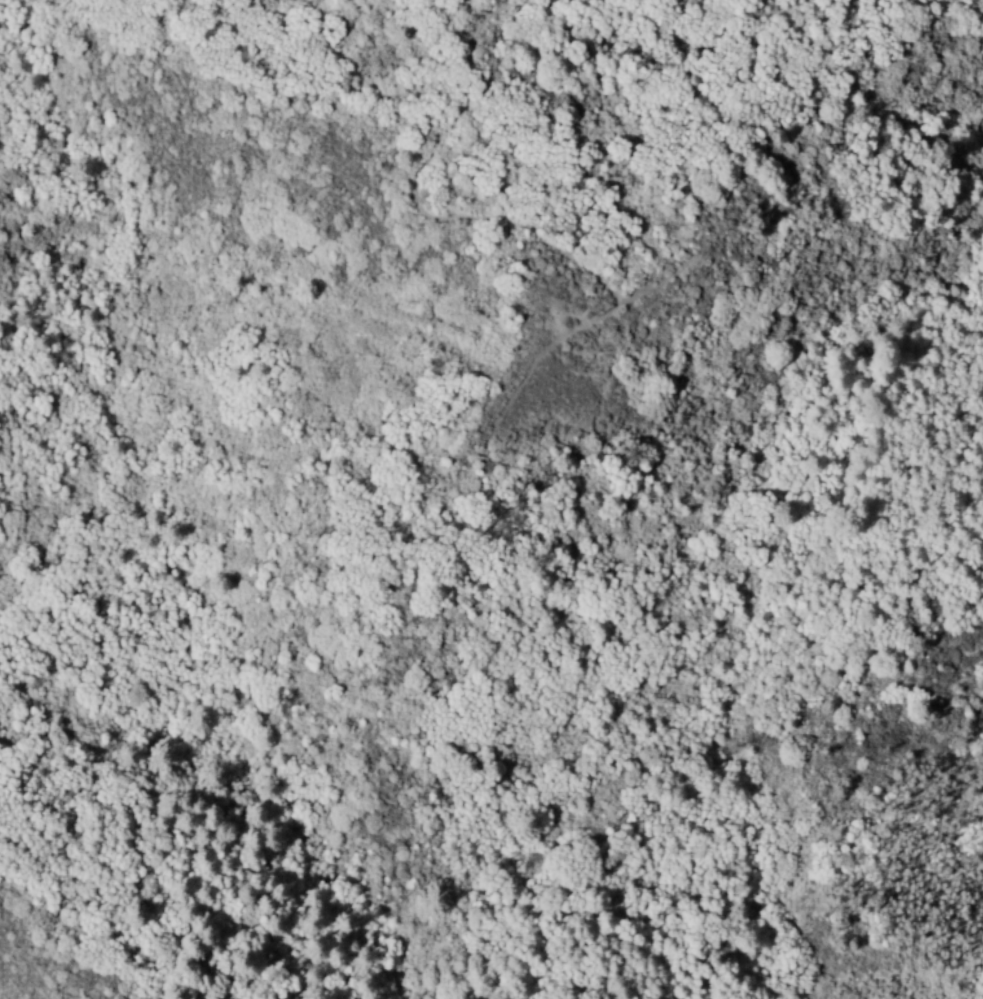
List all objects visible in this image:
road: (779, 607)

